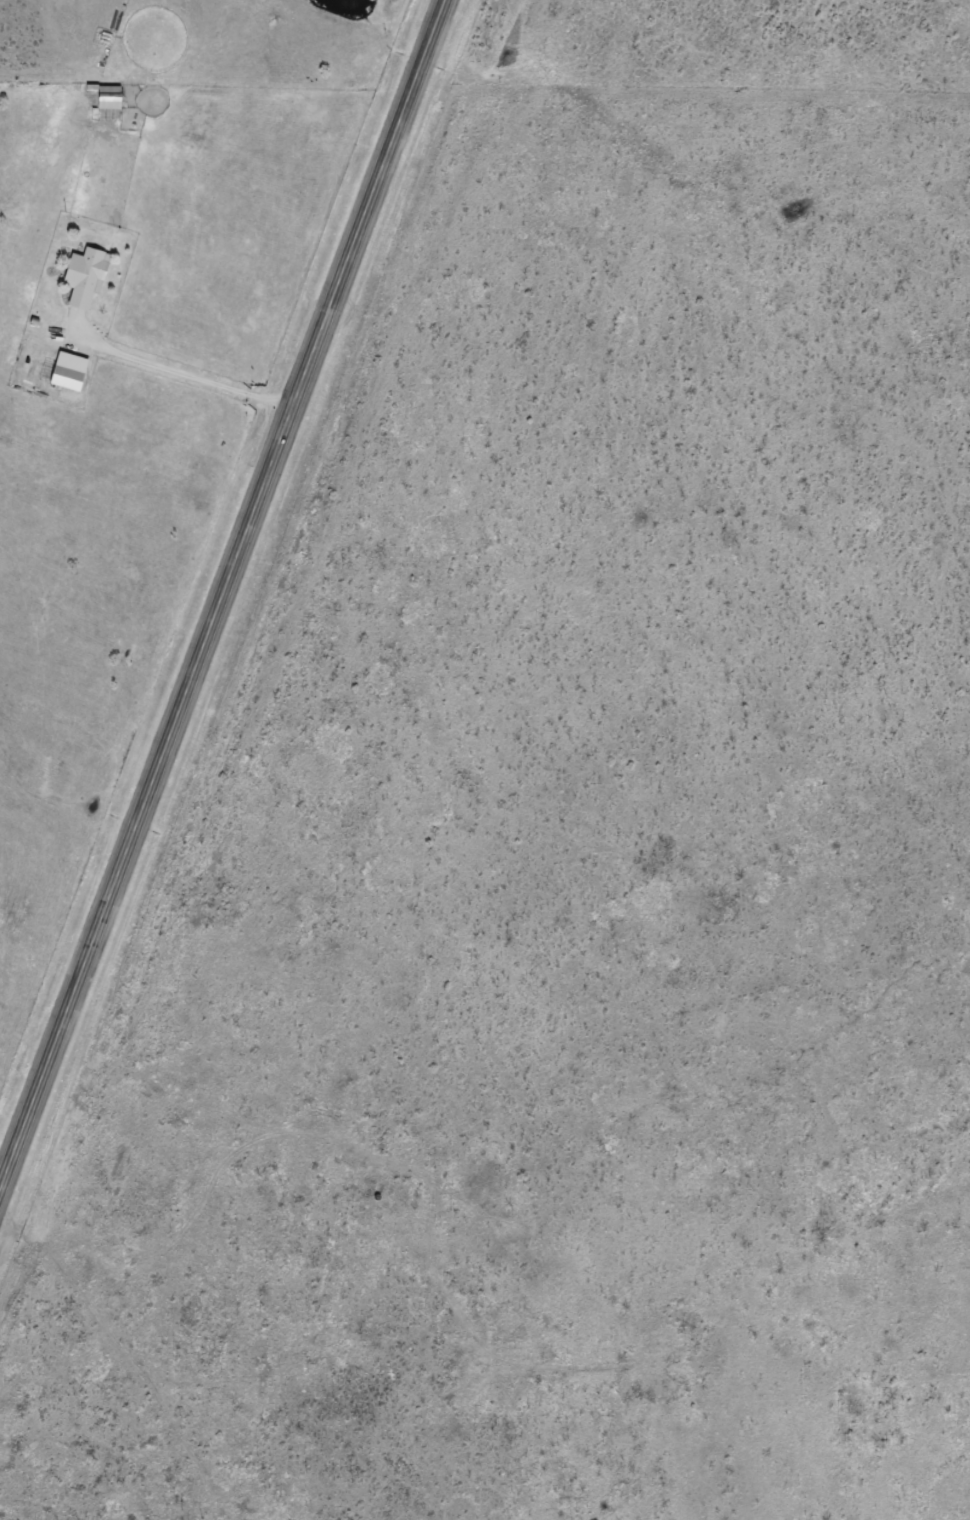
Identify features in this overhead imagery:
building: (107, 96)
building: (84, 277)
building: (65, 376)
road: (222, 594)

